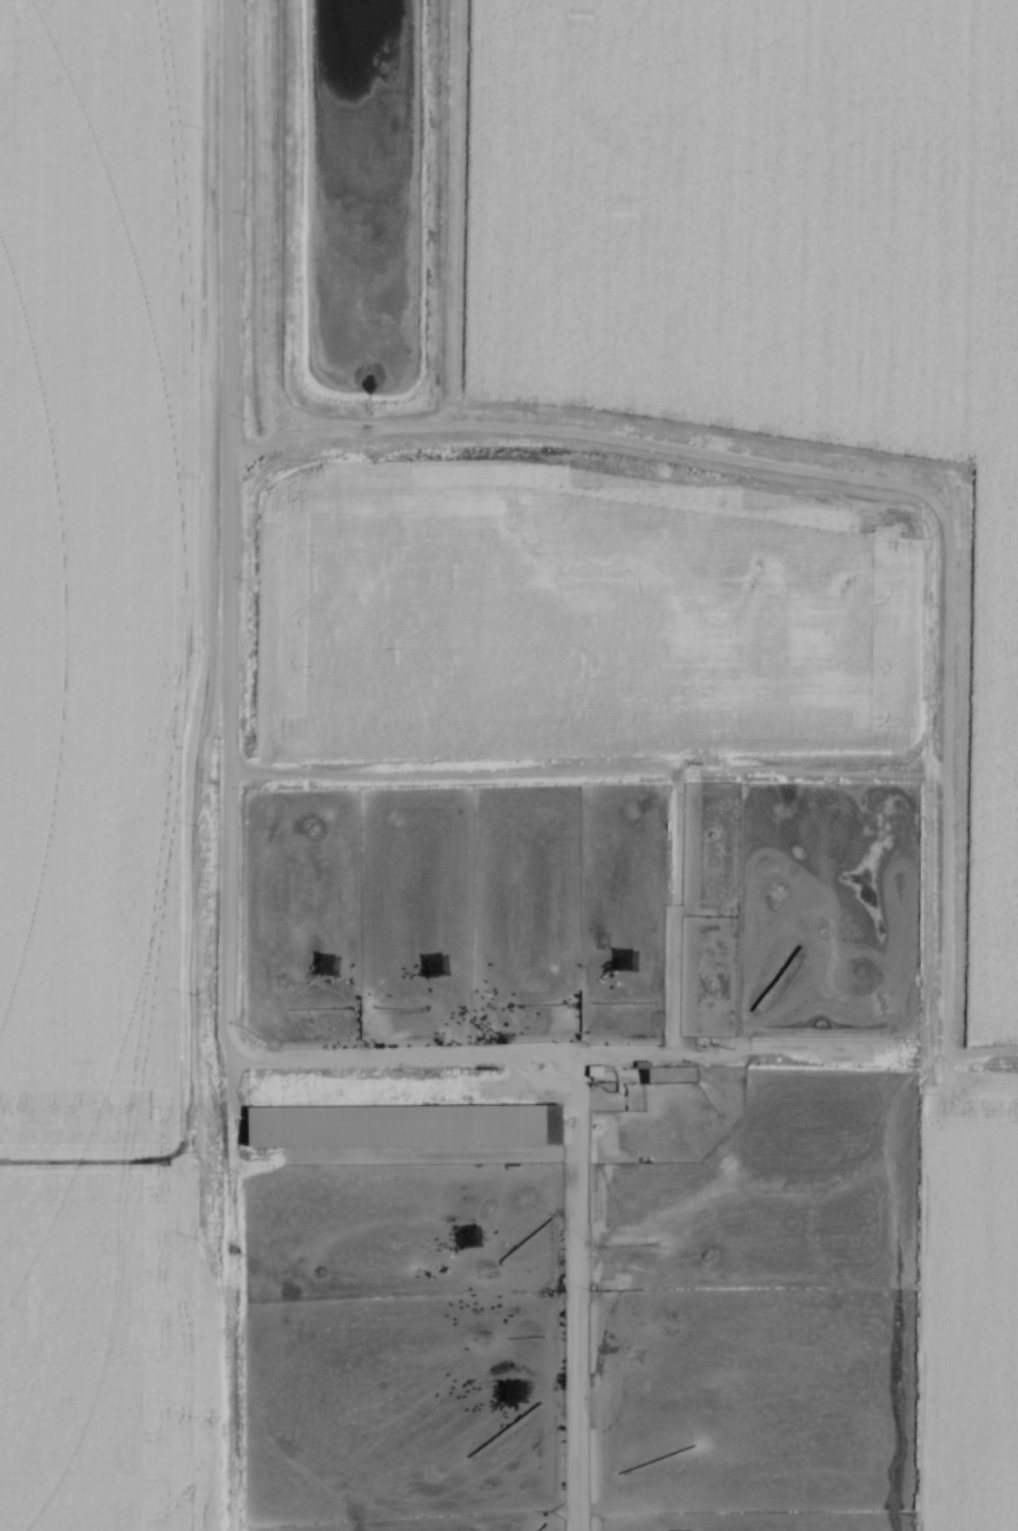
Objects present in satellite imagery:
road: (224, 513)
building: (409, 1123)

